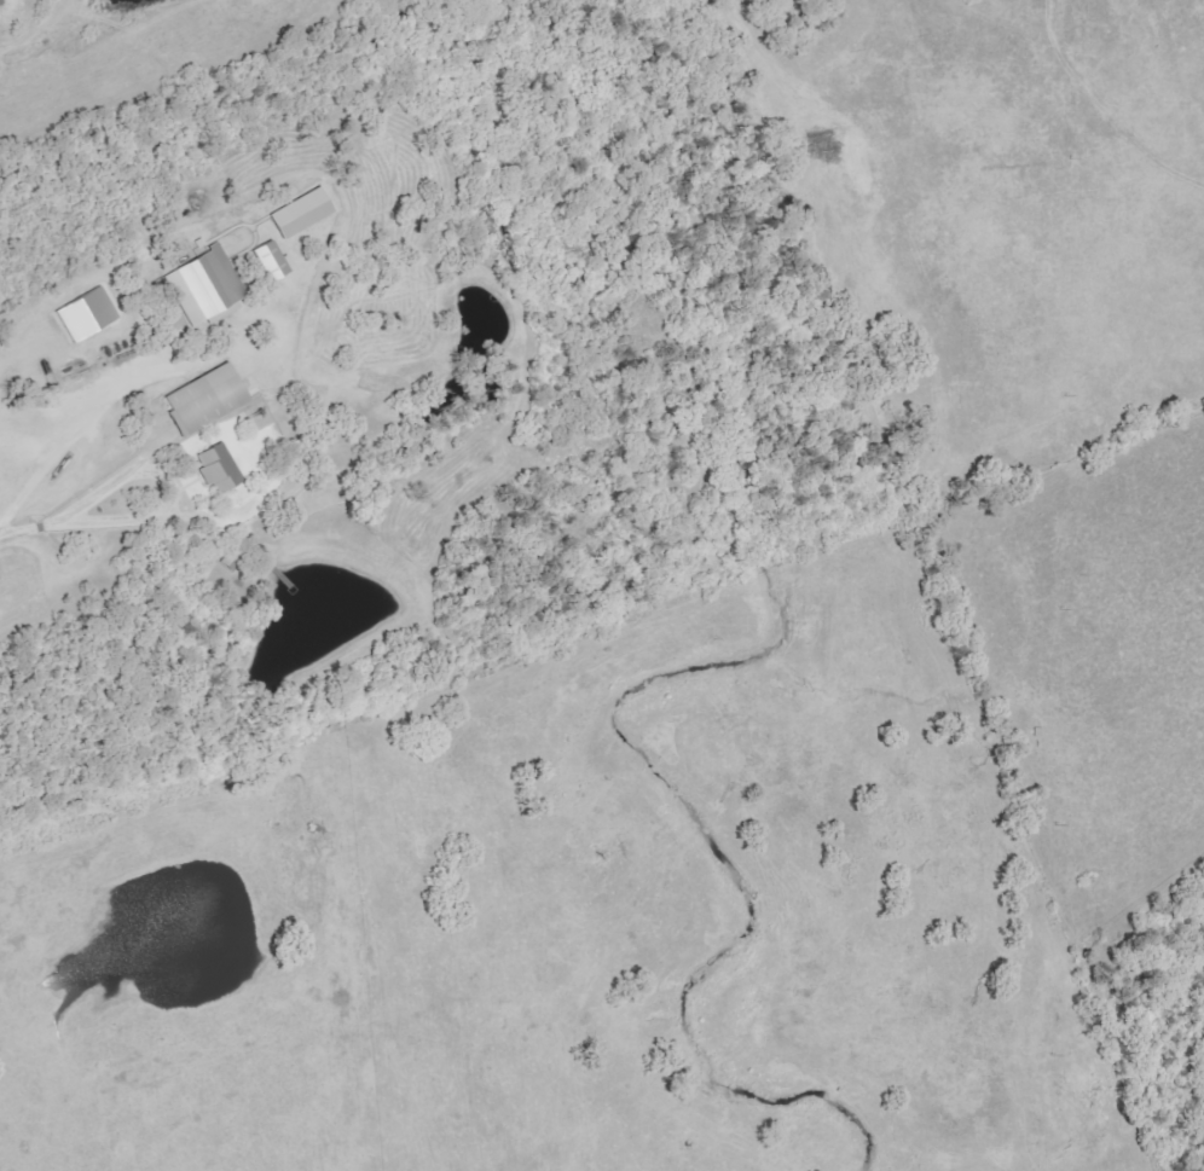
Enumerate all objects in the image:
building: (0, 4)
building: (300, 211)
building: (270, 260)
building: (204, 284)
building: (85, 313)
road: (111, 393)
building: (204, 398)
building: (218, 466)
road: (173, 491)
road: (24, 535)

